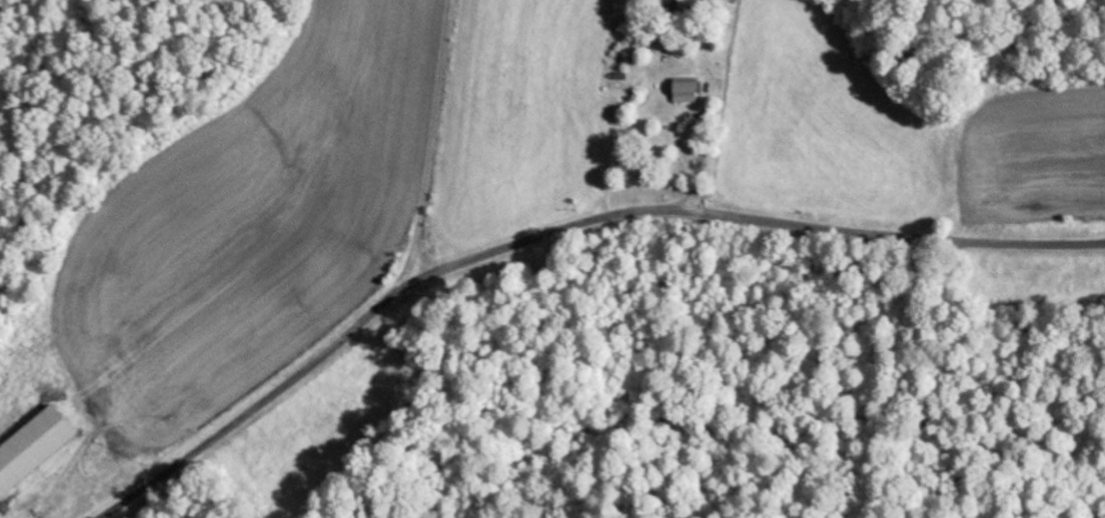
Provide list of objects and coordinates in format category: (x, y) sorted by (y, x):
road: (429, 155)
road: (562, 232)
road: (432, 262)
building: (30, 443)

